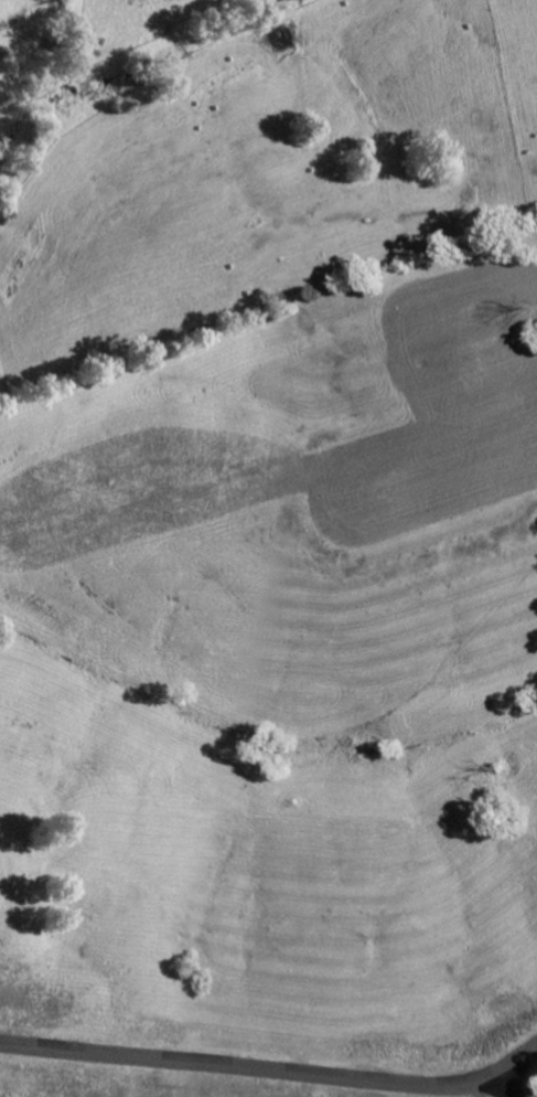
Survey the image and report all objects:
road: (273, 1068)
road: (514, 1082)

